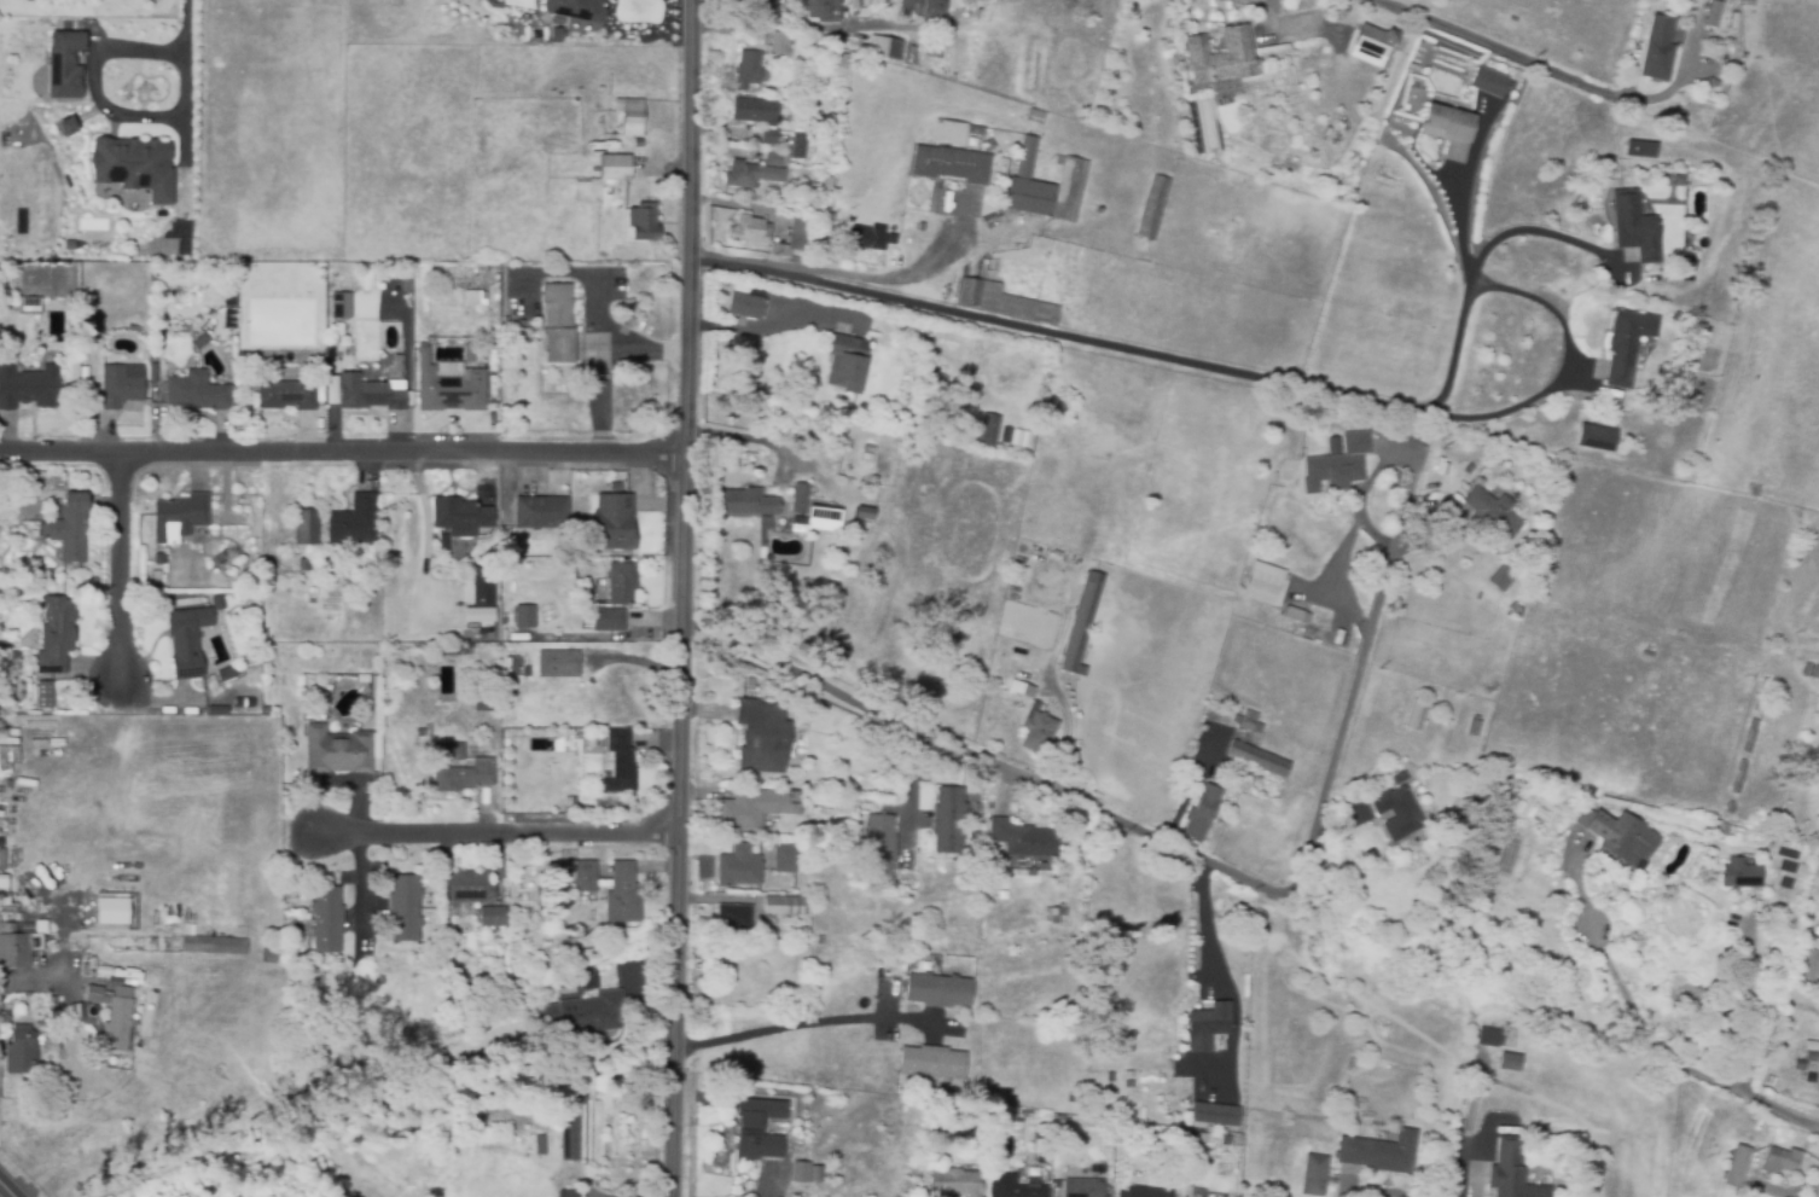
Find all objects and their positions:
building: (966, 0)
building: (1679, 1)
building: (861, 4)
building: (951, 4)
building: (912, 6)
building: (816, 7)
road: (1263, 7)
building: (575, 8)
building: (1712, 16)
road: (191, 27)
building: (849, 43)
building: (783, 45)
building: (1370, 45)
building: (883, 47)
road: (1489, 47)
building: (1655, 51)
building: (1708, 53)
building: (1220, 58)
building: (69, 63)
building: (1412, 69)
building: (748, 70)
building: (1487, 83)
road: (106, 111)
building: (755, 111)
building: (1034, 115)
building: (630, 116)
building: (72, 124)
building: (1447, 130)
building: (948, 133)
building: (769, 136)
building: (638, 143)
building: (800, 146)
building: (1639, 151)
building: (777, 159)
building: (139, 164)
building: (951, 164)
building: (615, 168)
building: (744, 175)
building: (827, 184)
building: (1025, 186)
building: (591, 191)
building: (1069, 192)
building: (1152, 209)
building: (643, 222)
building: (923, 227)
road: (1536, 228)
building: (1633, 228)
building: (748, 231)
building: (794, 234)
building: (878, 234)
building: (1234, 238)
building: (402, 281)
building: (367, 284)
building: (953, 289)
building: (970, 292)
road: (1465, 294)
building: (1643, 294)
building: (476, 300)
building: (30, 306)
building: (342, 306)
building: (745, 306)
building: (1016, 306)
building: (496, 310)
building: (1674, 316)
building: (628, 321)
building: (556, 324)
building: (54, 325)
building: (521, 325)
building: (338, 330)
building: (510, 332)
road: (1058, 332)
building: (1626, 345)
building: (203, 347)
building: (349, 353)
road: (600, 360)
building: (402, 362)
building: (847, 362)
road: (1565, 368)
building: (449, 378)
building: (492, 383)
building: (121, 385)
building: (28, 388)
building: (332, 390)
building: (197, 393)
building: (378, 395)
building: (286, 396)
building: (988, 431)
road: (744, 436)
building: (1596, 438)
road: (342, 453)
building: (1341, 463)
building: (34, 487)
building: (615, 489)
building: (801, 500)
building: (749, 504)
building: (873, 510)
building: (1489, 510)
building: (541, 513)
road: (1365, 513)
building: (459, 515)
building: (180, 518)
building: (354, 522)
building: (818, 522)
building: (614, 523)
building: (307, 528)
building: (71, 529)
building: (35, 534)
building: (762, 554)
building: (159, 559)
building: (39, 564)
building: (304, 565)
road: (118, 566)
building: (1016, 566)
building: (156, 576)
building: (1500, 580)
building: (483, 582)
building: (621, 583)
building: (1262, 583)
building: (512, 591)
road: (682, 598)
building: (1512, 606)
building: (1291, 615)
building: (523, 616)
building: (608, 621)
building: (1082, 624)
building: (56, 634)
building: (187, 641)
building: (452, 651)
building: (1645, 656)
building: (12, 657)
building: (558, 664)
building: (528, 672)
building: (1809, 672)
building: (228, 675)
building: (362, 679)
building: (1022, 688)
building: (43, 695)
building: (1761, 697)
building: (484, 701)
road: (1352, 705)
building: (266, 710)
building: (228, 711)
building: (1418, 715)
building: (1245, 721)
building: (1471, 727)
building: (1038, 733)
building: (763, 737)
building: (1749, 737)
building: (337, 751)
building: (845, 756)
building: (1256, 761)
building: (620, 763)
building: (459, 769)
building: (1738, 778)
road: (1040, 781)
building: (1569, 796)
building: (1592, 797)
building: (1730, 808)
building: (755, 809)
building: (1201, 814)
building: (1396, 814)
building: (948, 819)
building: (1724, 830)
road: (496, 832)
building: (1614, 833)
building: (1017, 838)
building: (879, 848)
building: (786, 859)
building: (739, 867)
building: (580, 876)
building: (1738, 876)
building: (2, 885)
building: (470, 887)
building: (622, 895)
building: (786, 906)
building: (403, 908)
building: (111, 912)
building: (297, 914)
building: (1054, 914)
building: (493, 917)
building: (734, 918)
building: (326, 919)
road: (1210, 920)
road: (313, 928)
building: (807, 931)
building: (430, 940)
building: (785, 941)
building: (500, 942)
building: (215, 946)
building: (17, 947)
building: (271, 955)
building: (1807, 965)
road: (25, 980)
building: (587, 980)
building: (938, 990)
building: (98, 995)
building: (59, 1013)
road: (1756, 1013)
building: (586, 1016)
building: (121, 1018)
road: (802, 1025)
building: (1207, 1028)
building: (1489, 1038)
road: (1657, 1040)
building: (23, 1050)
building: (1797, 1056)
building: (1812, 1057)
building: (931, 1063)
building: (1509, 1063)
building: (1800, 1067)
building: (1109, 1079)
building: (1809, 1080)
building: (1070, 1099)
building: (1285, 1104)
building: (1214, 1115)
building: (1346, 1117)
building: (749, 1126)
building: (570, 1128)
building: (1777, 1131)
building: (1189, 1135)
building: (1222, 1141)
building: (1238, 1143)
building: (540, 1145)
building: (727, 1150)
building: (1379, 1154)
building: (803, 1155)
building: (1779, 1162)
building: (1736, 1168)
building: (801, 1172)
building: (1510, 1172)
building: (816, 1174)
building: (1314, 1176)
building: (957, 1184)
building: (1056, 1184)
building: (1013, 1187)
road: (1815, 1187)
road: (8, 1189)
building: (1081, 1189)
building: (1146, 1192)
road: (1384, 1193)
building: (569, 1195)

